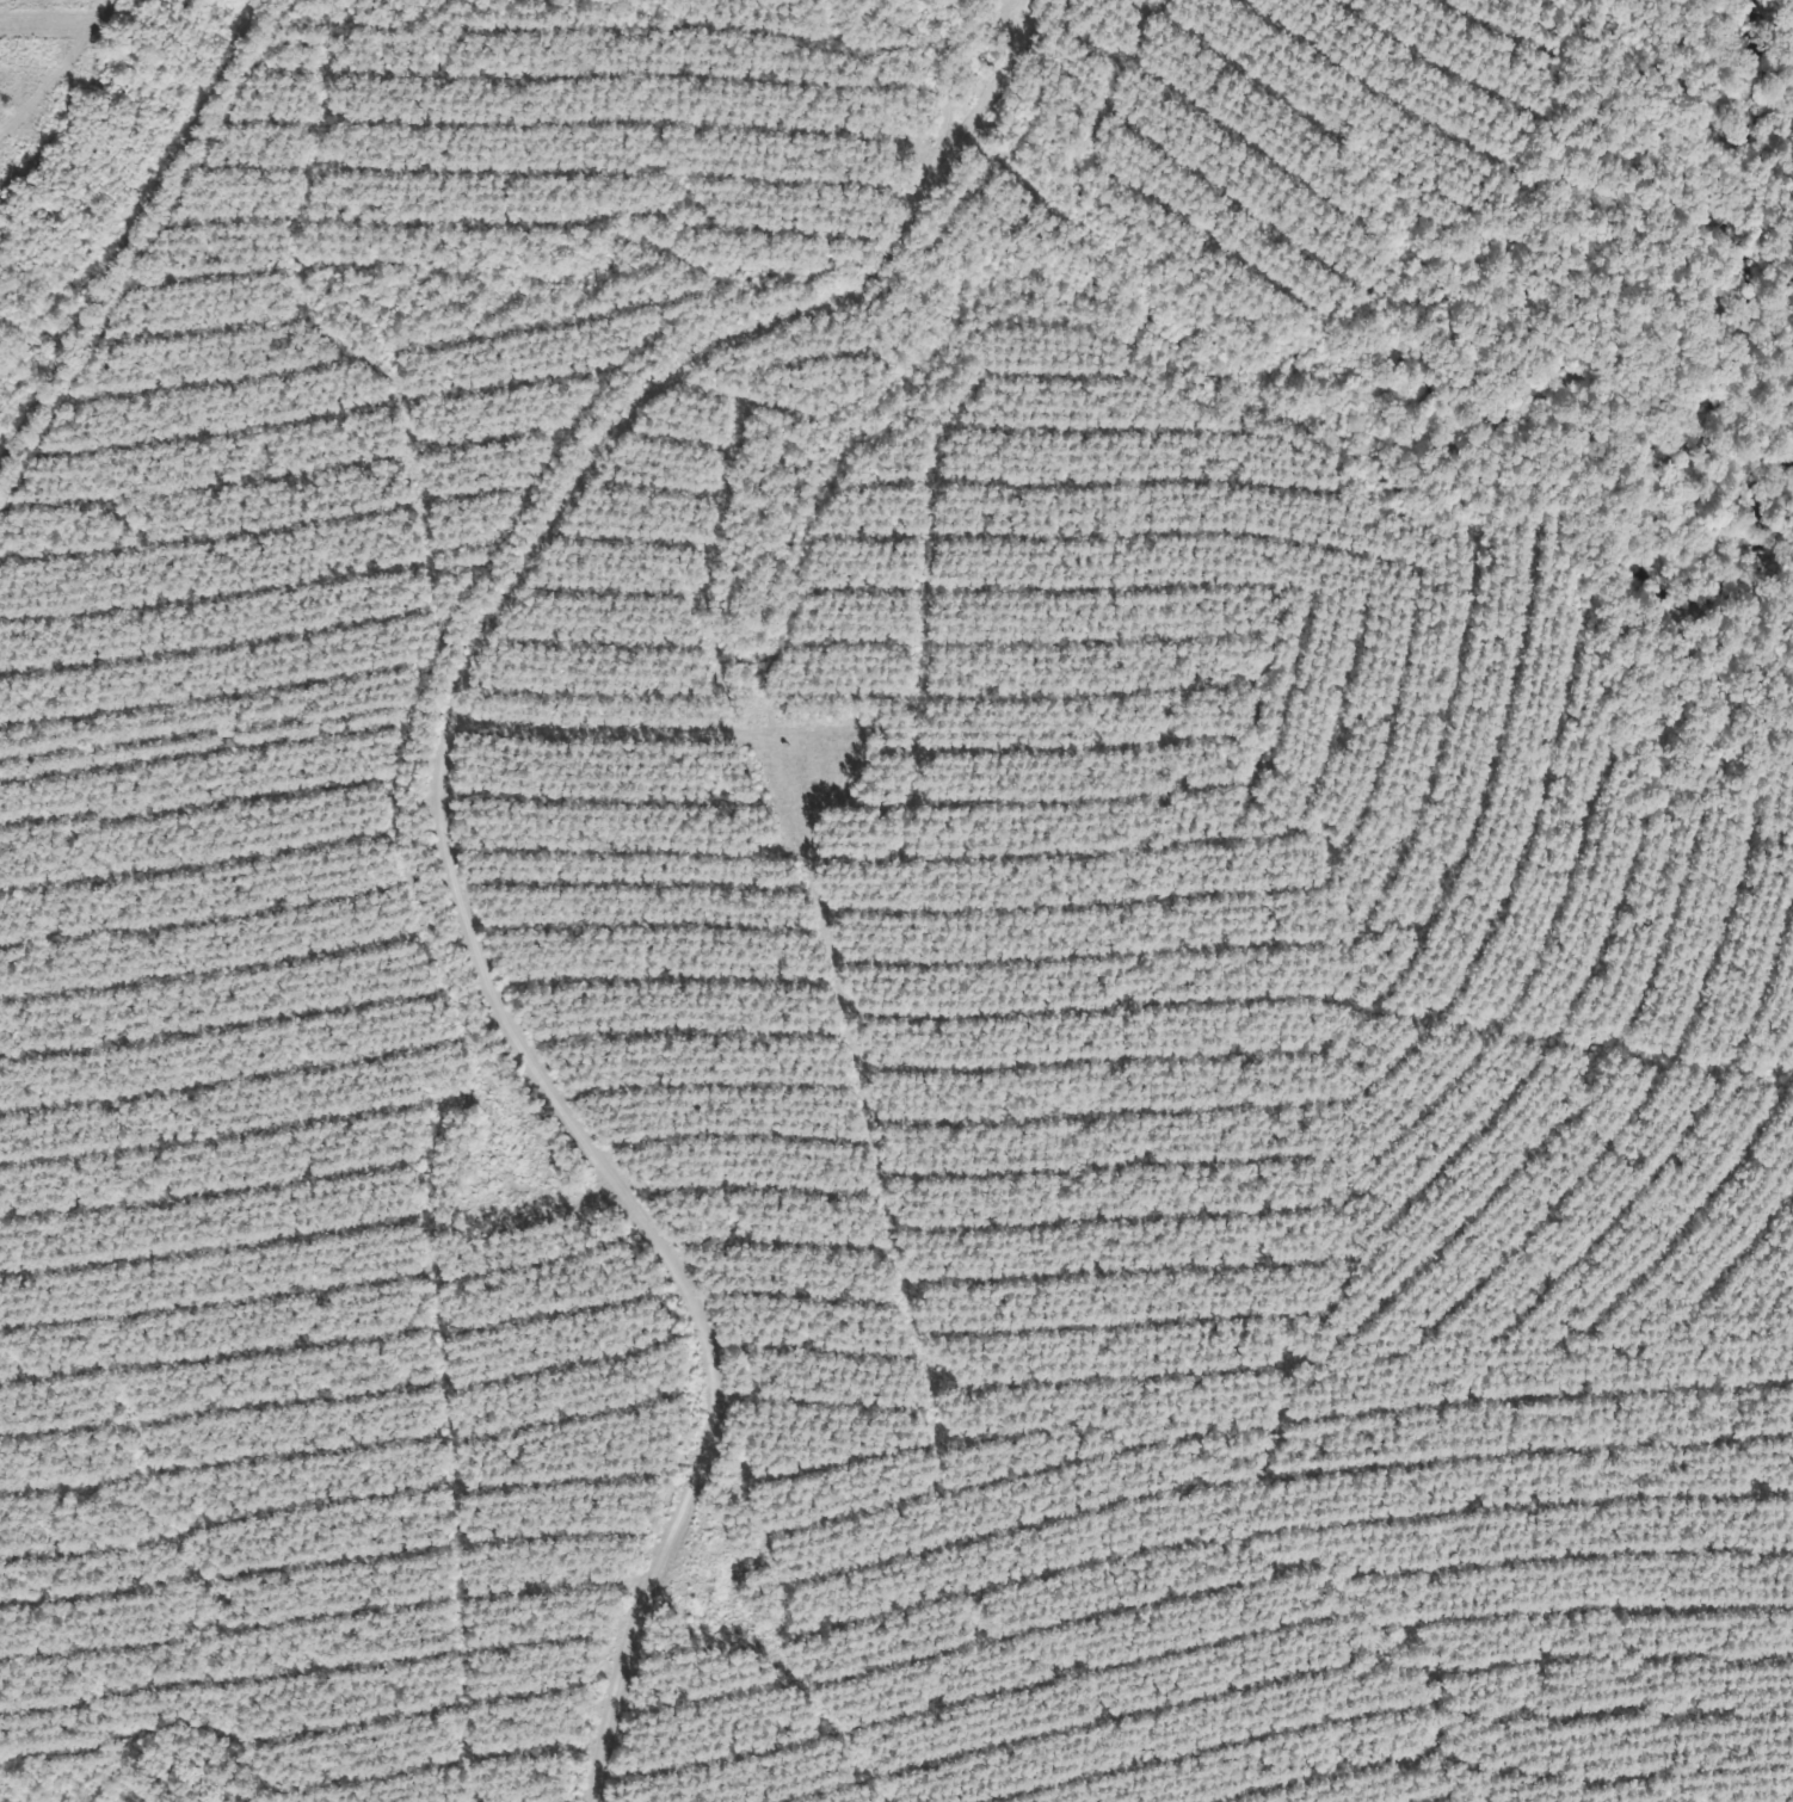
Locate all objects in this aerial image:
road: (536, 1000)

